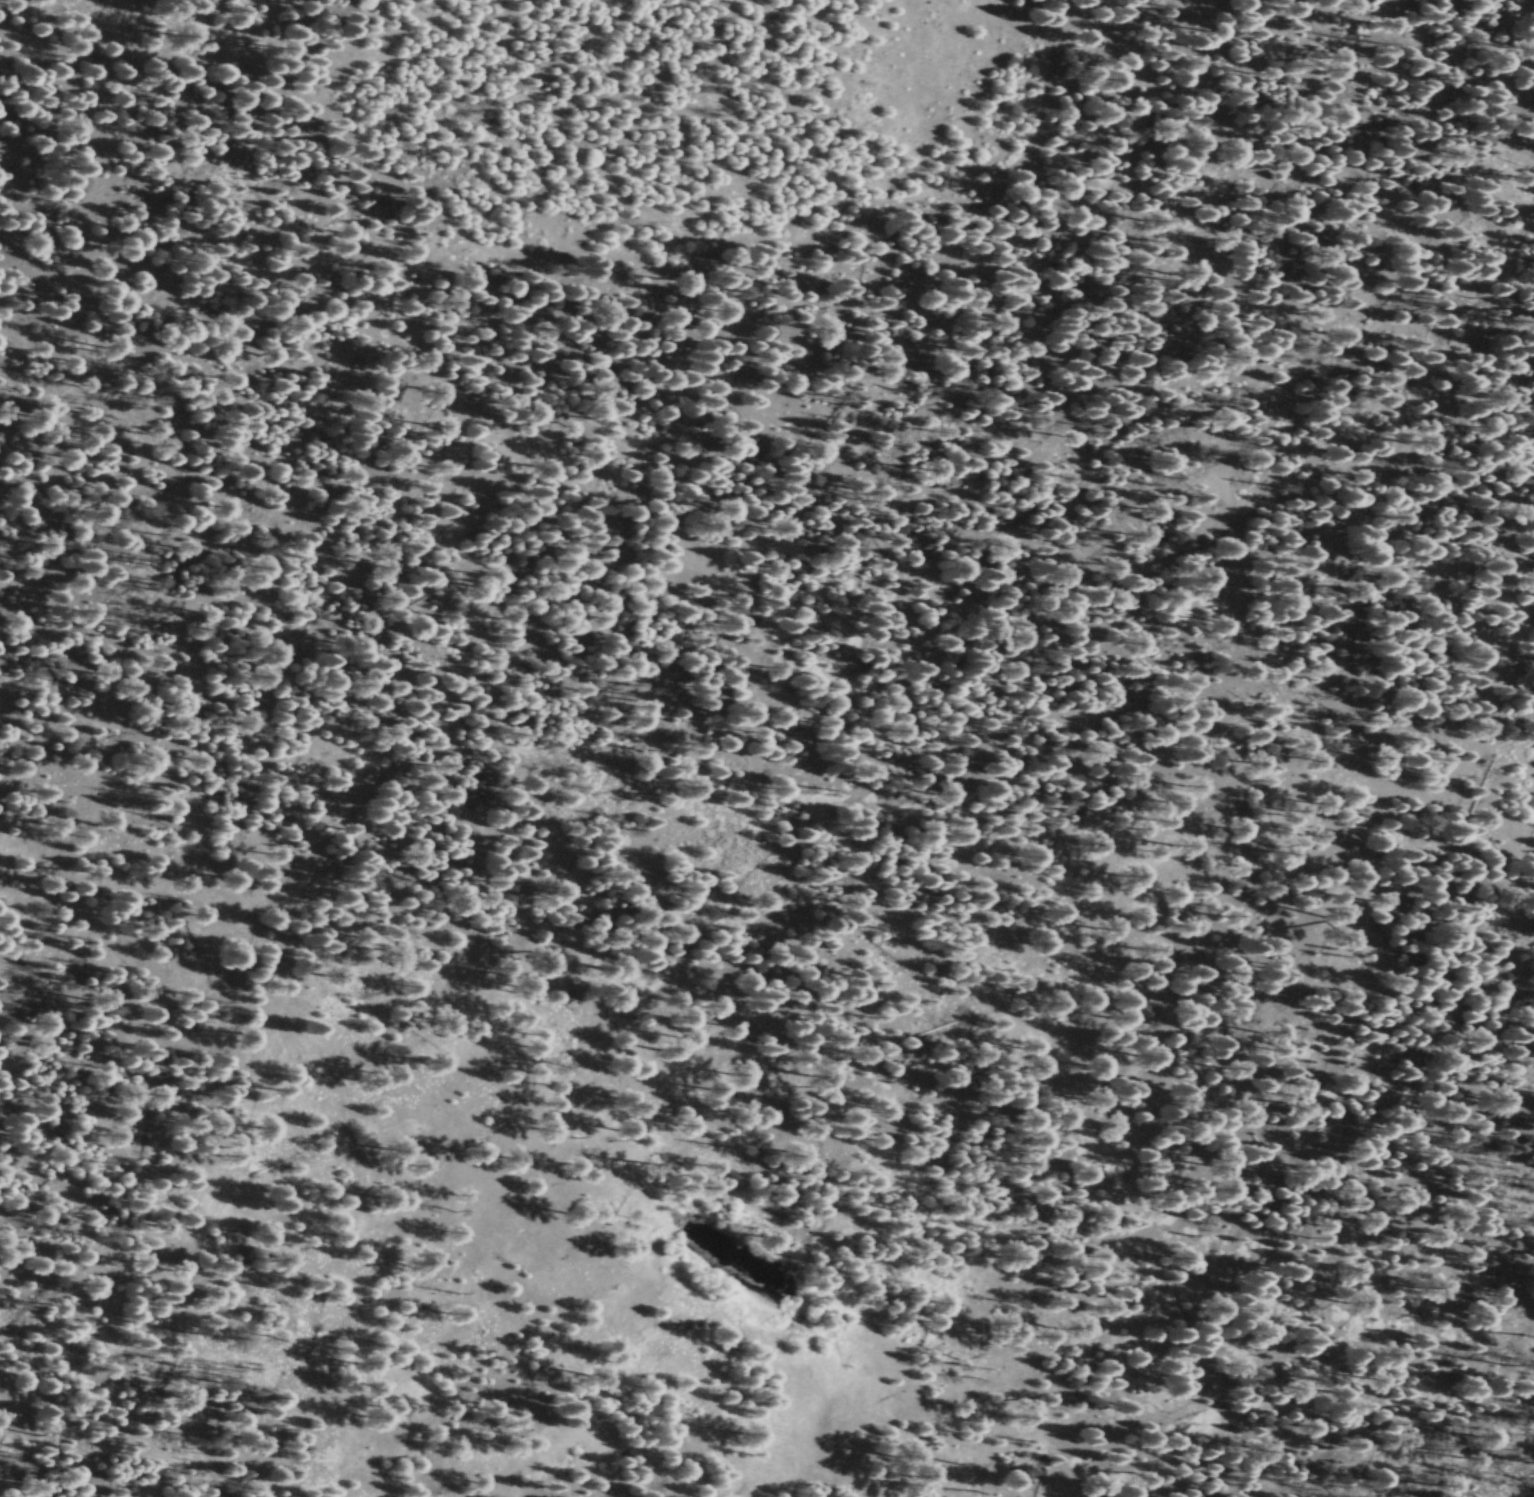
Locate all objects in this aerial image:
road: (1182, 377)
road: (334, 560)
road: (1491, 655)
road: (859, 761)

